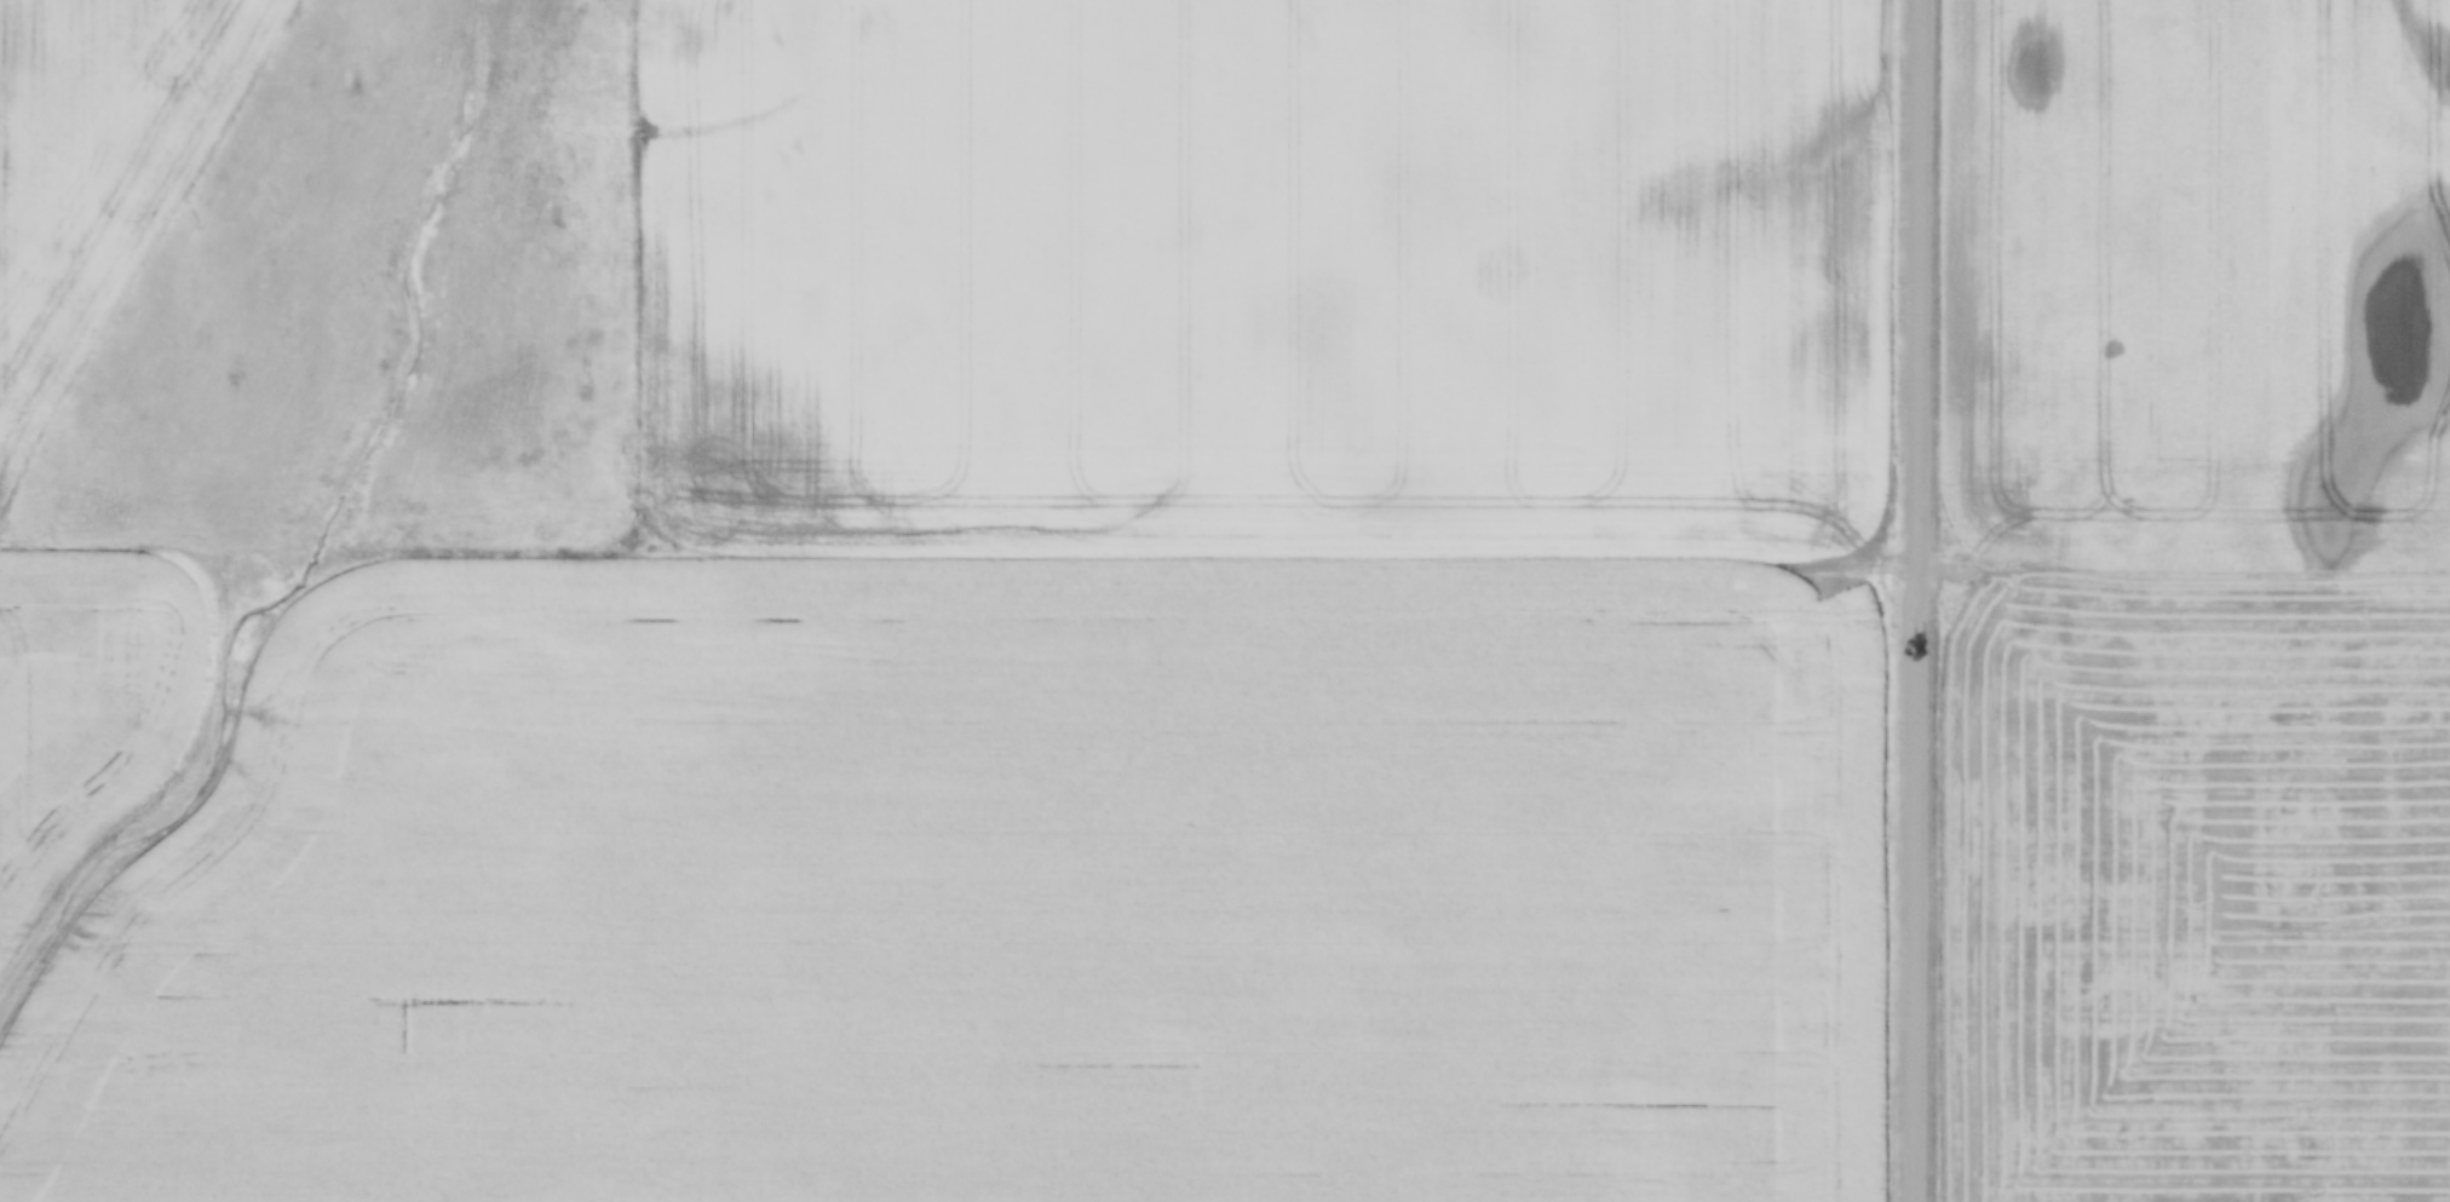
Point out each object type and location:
road: (1917, 600)

